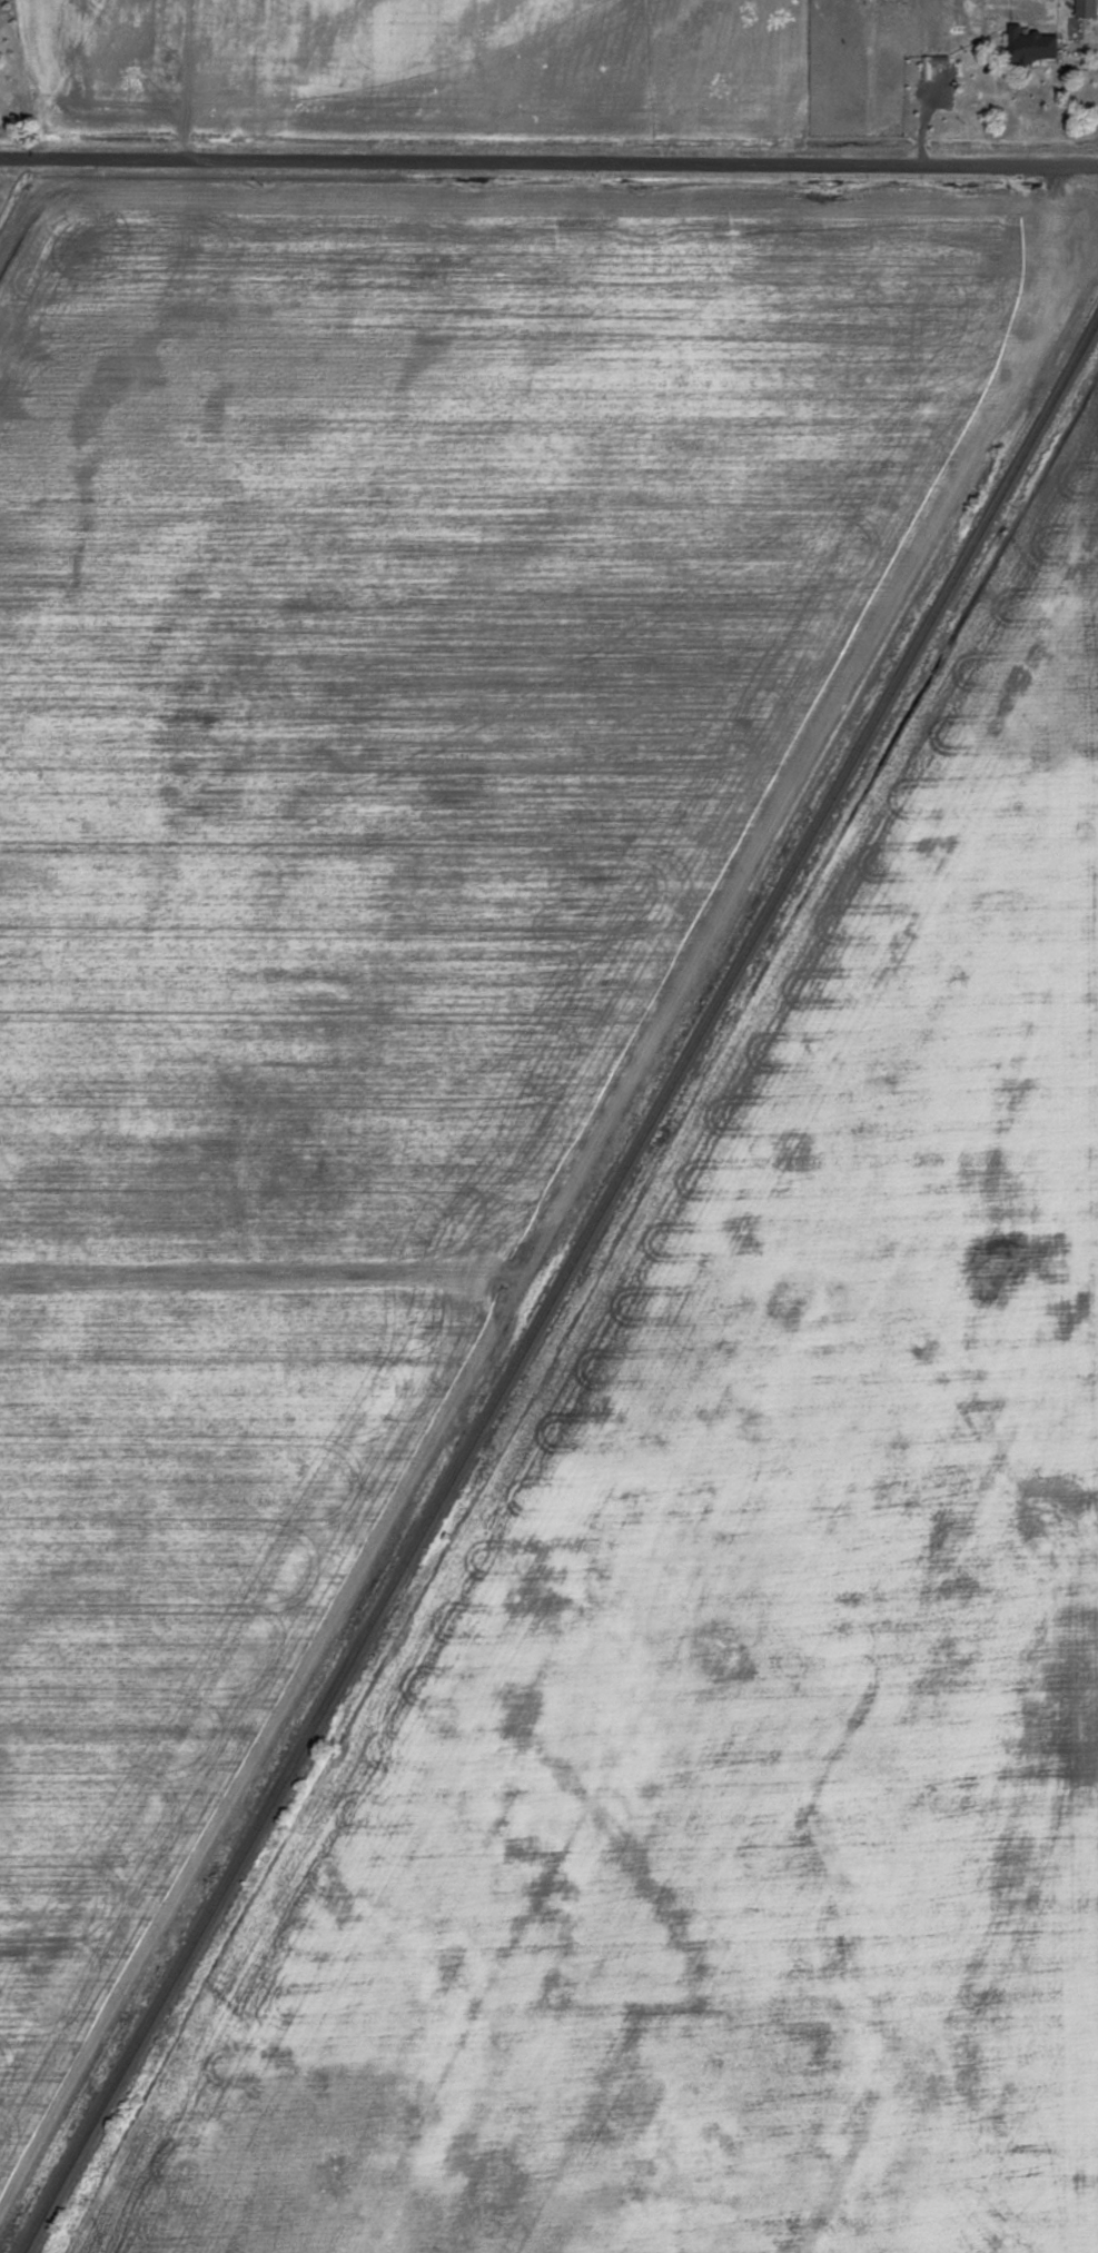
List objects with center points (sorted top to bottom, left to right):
building: (1081, 8)
building: (1029, 46)
road: (548, 165)
railway: (561, 1284)

